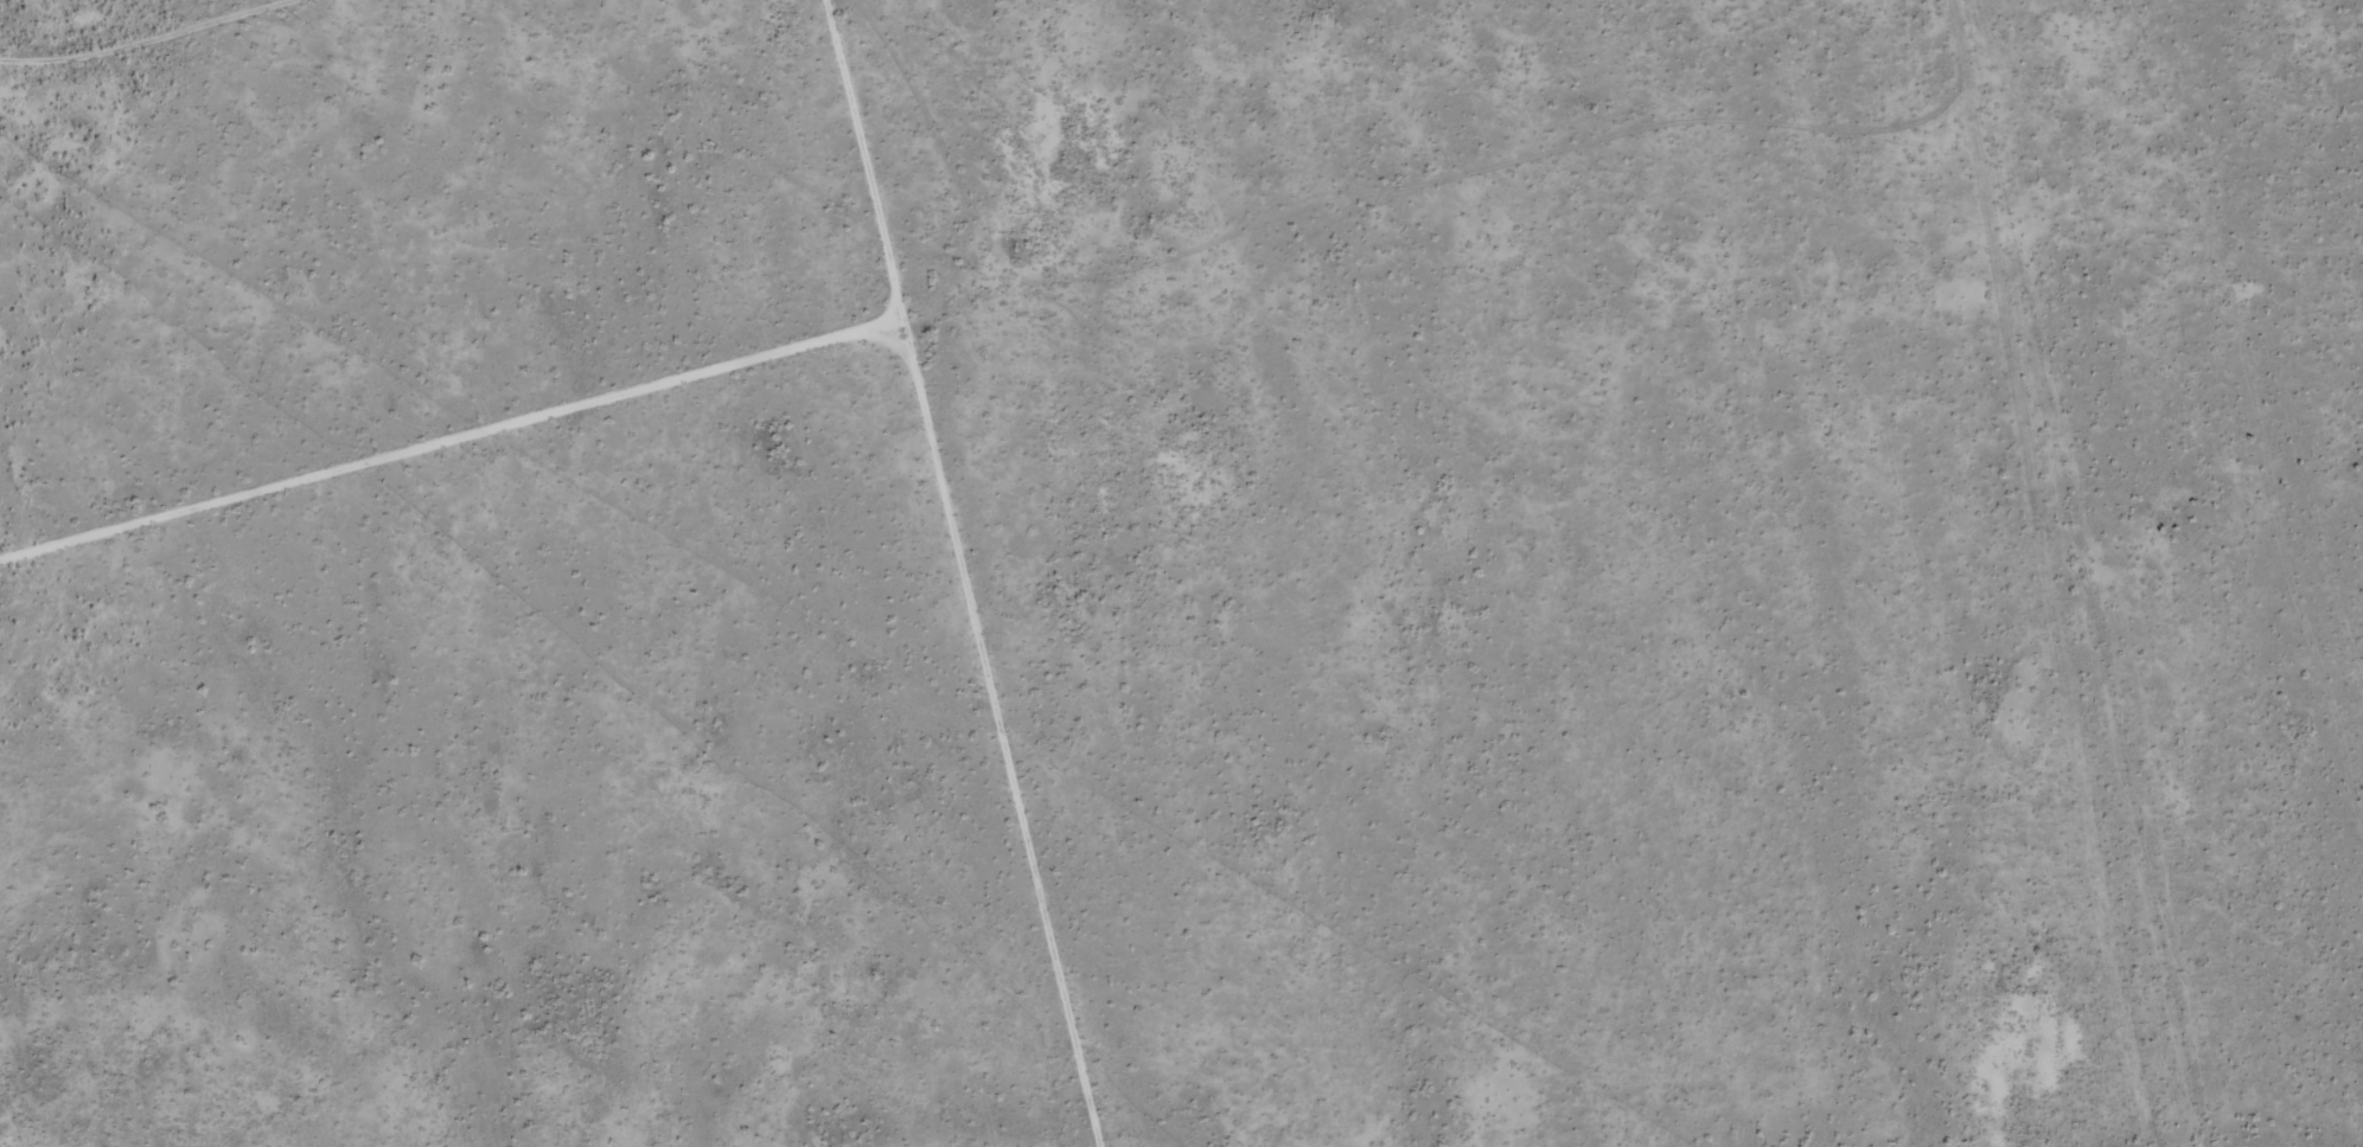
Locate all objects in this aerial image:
river: (369, 575)

